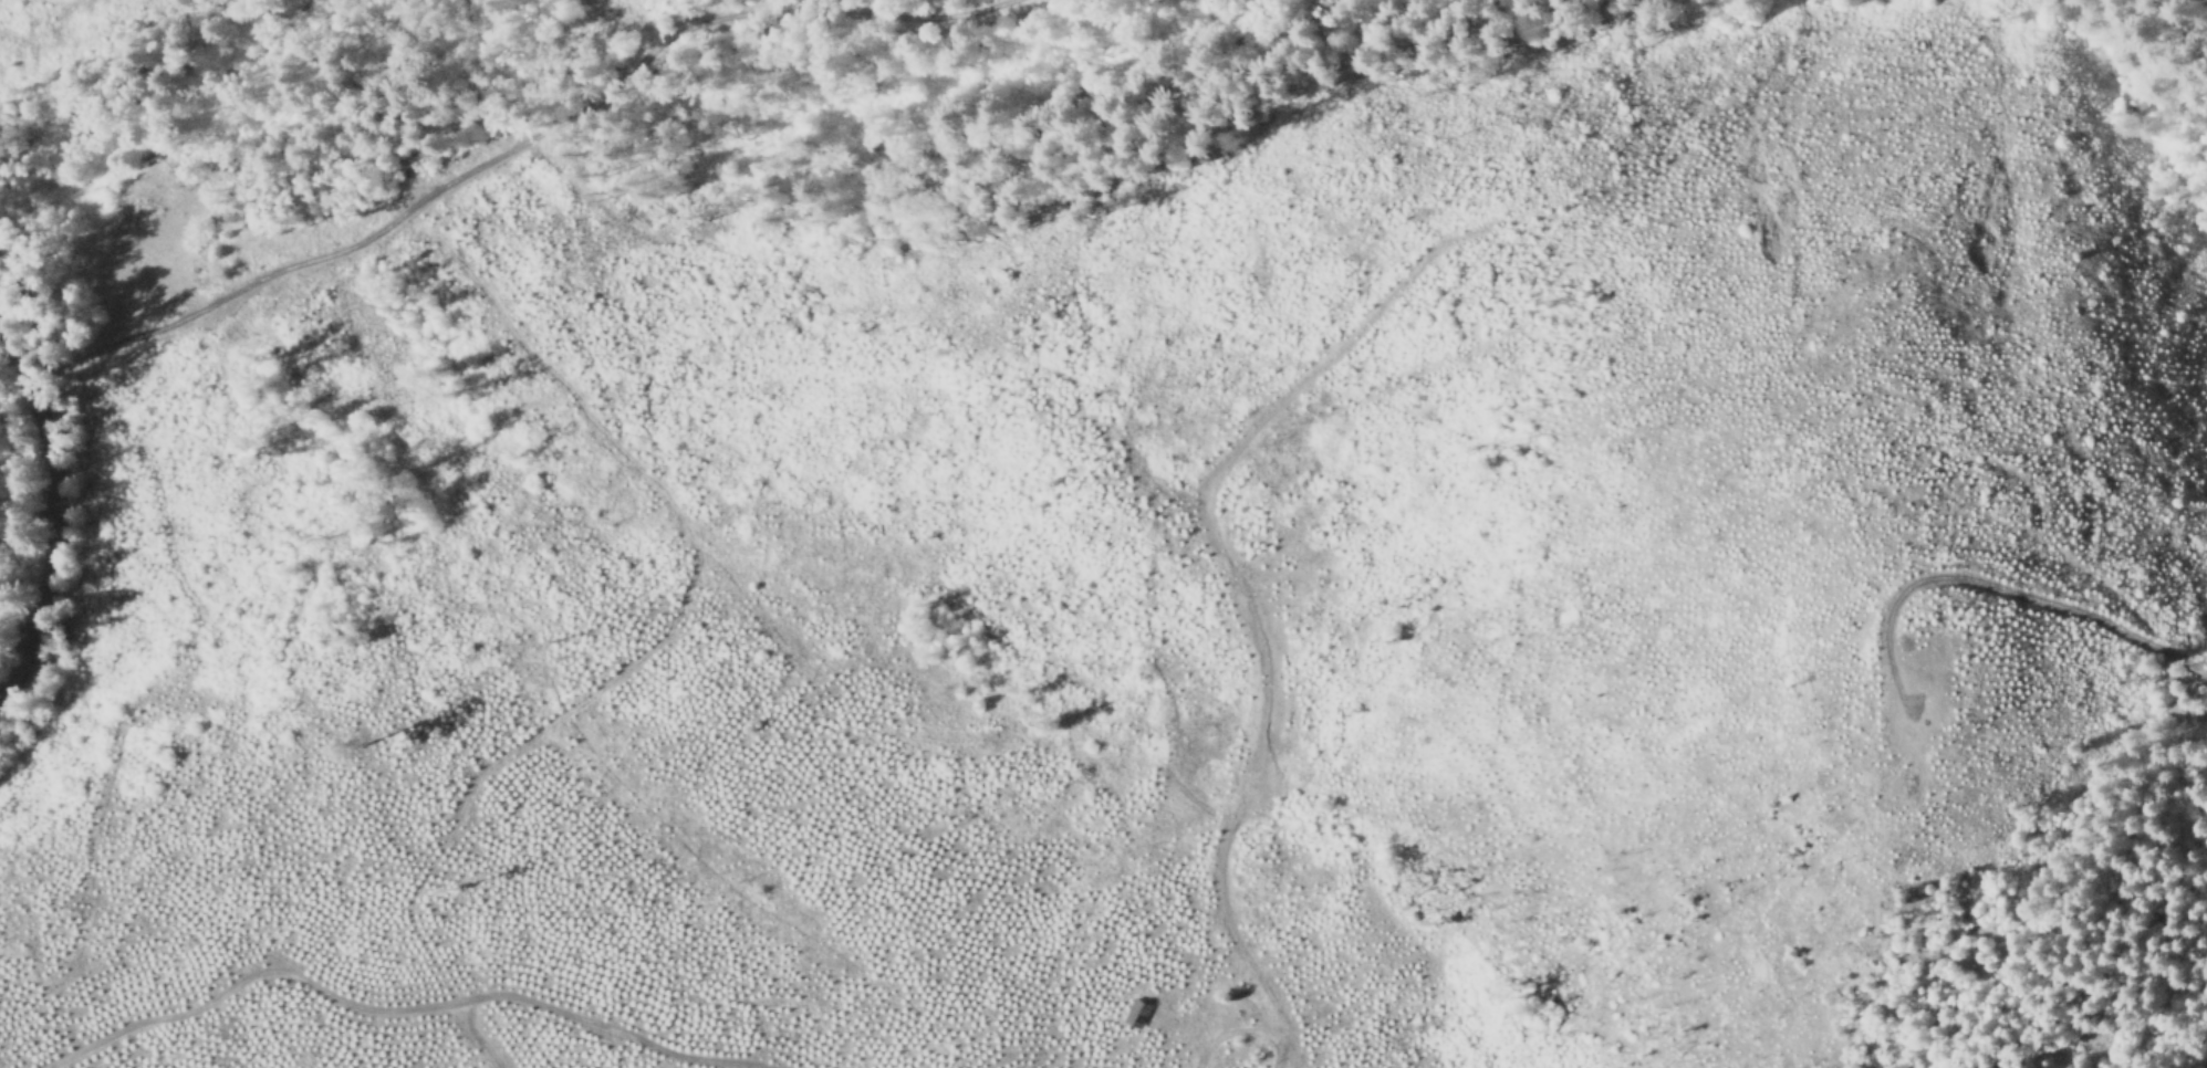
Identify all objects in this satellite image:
road: (44, 512)

